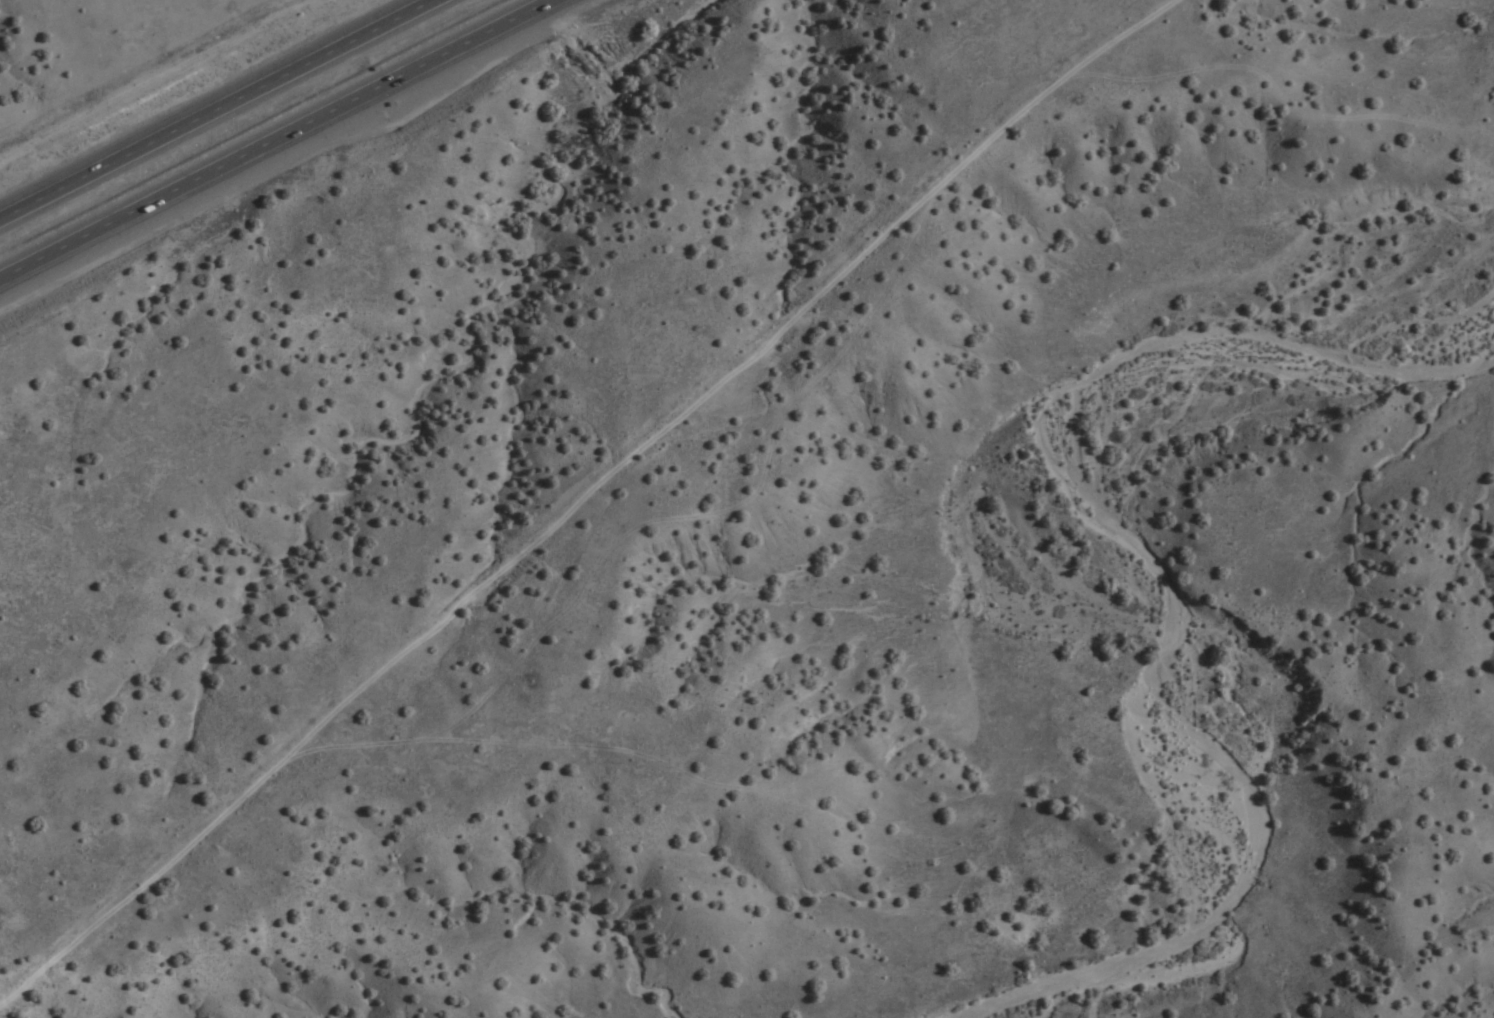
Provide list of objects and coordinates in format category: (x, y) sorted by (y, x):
road: (221, 111)
road: (272, 137)

